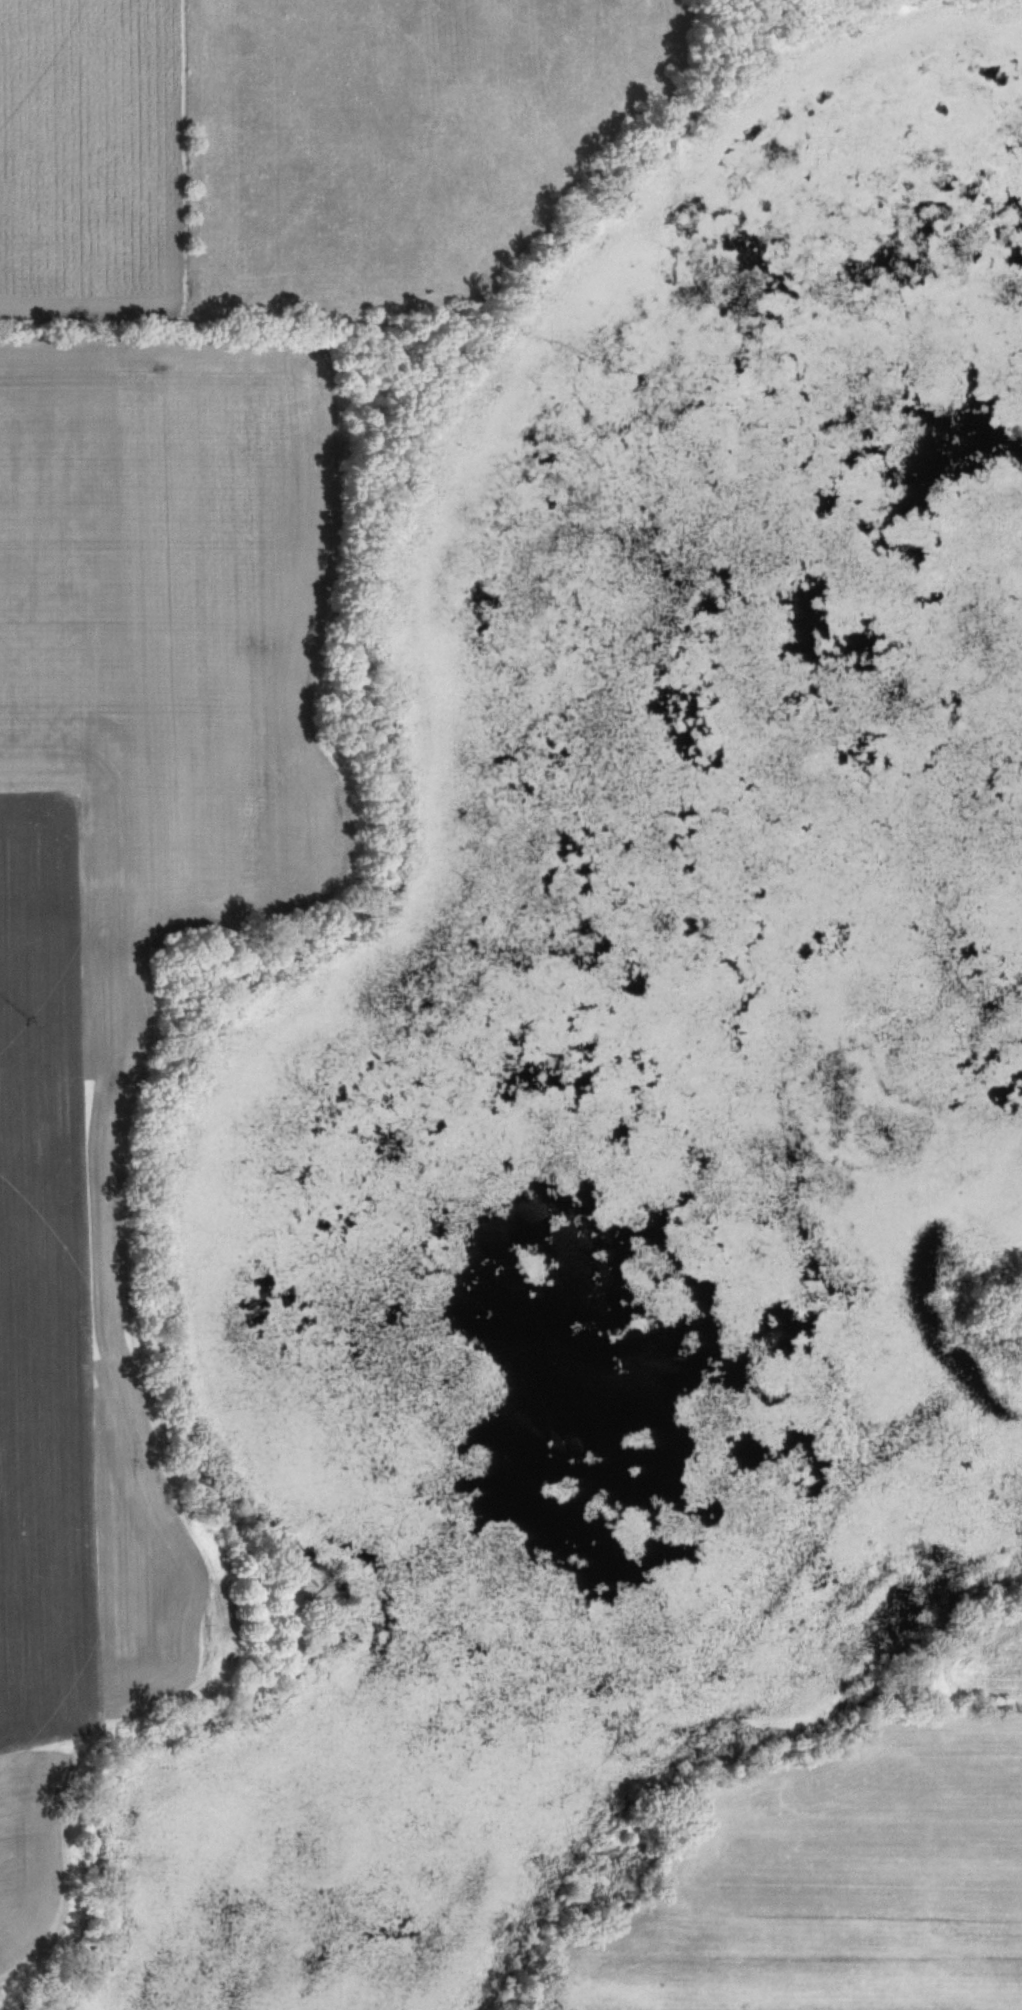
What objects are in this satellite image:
crop: (289, 145)

